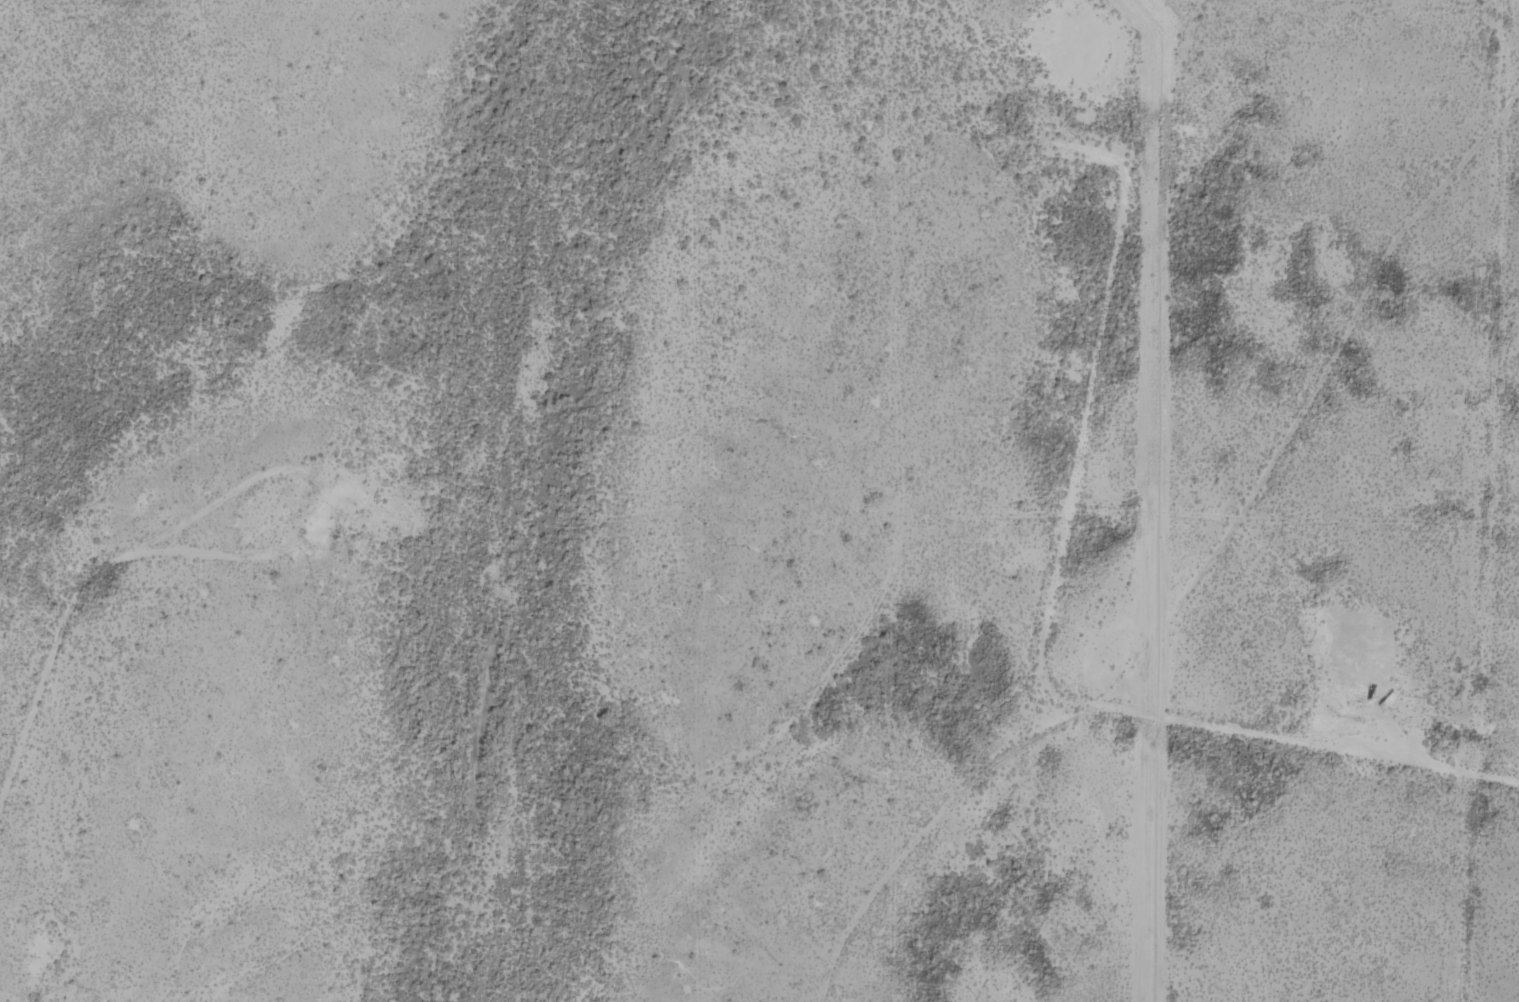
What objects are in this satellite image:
road: (1032, 619)

